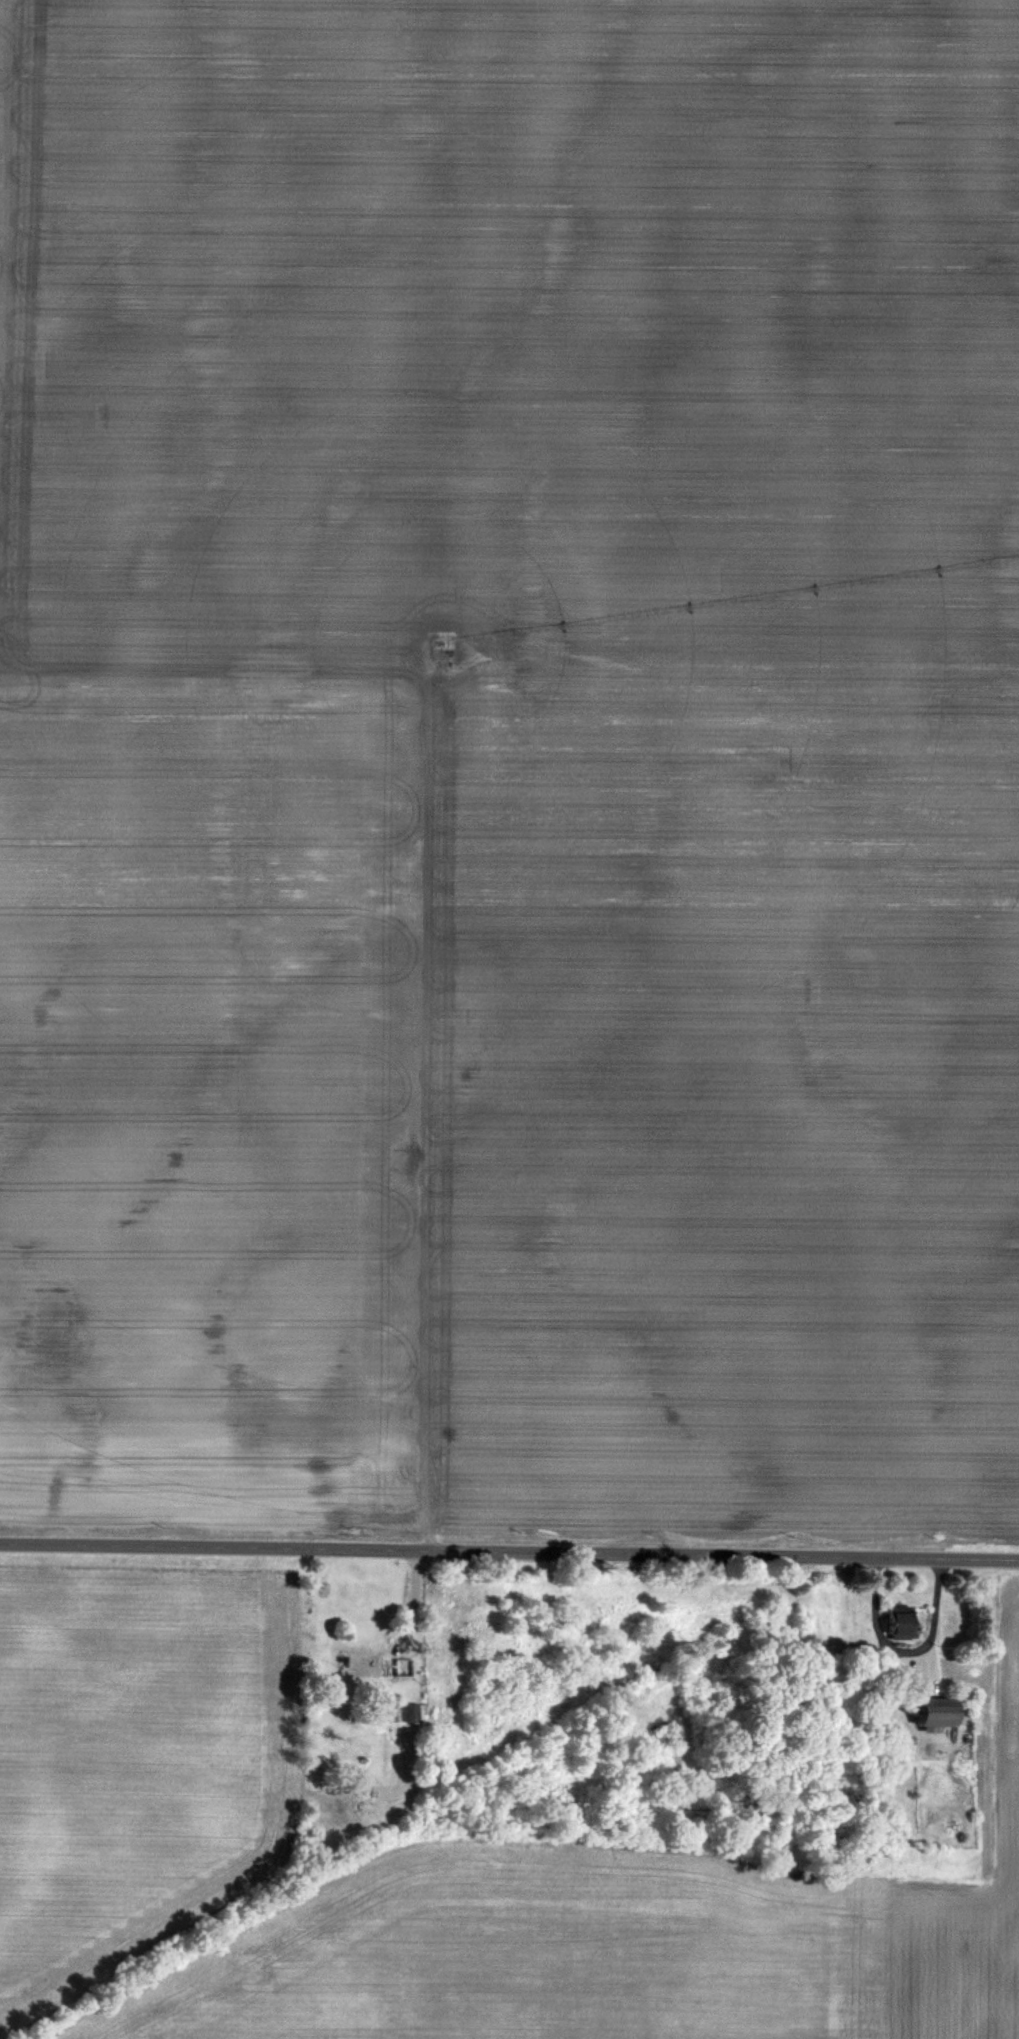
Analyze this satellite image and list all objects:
road: (509, 1554)
road: (402, 1620)
building: (893, 1622)
road: (895, 1655)
building: (363, 1665)
building: (403, 1668)
building: (883, 1668)
building: (925, 1713)
building: (414, 1714)
building: (666, 1765)

